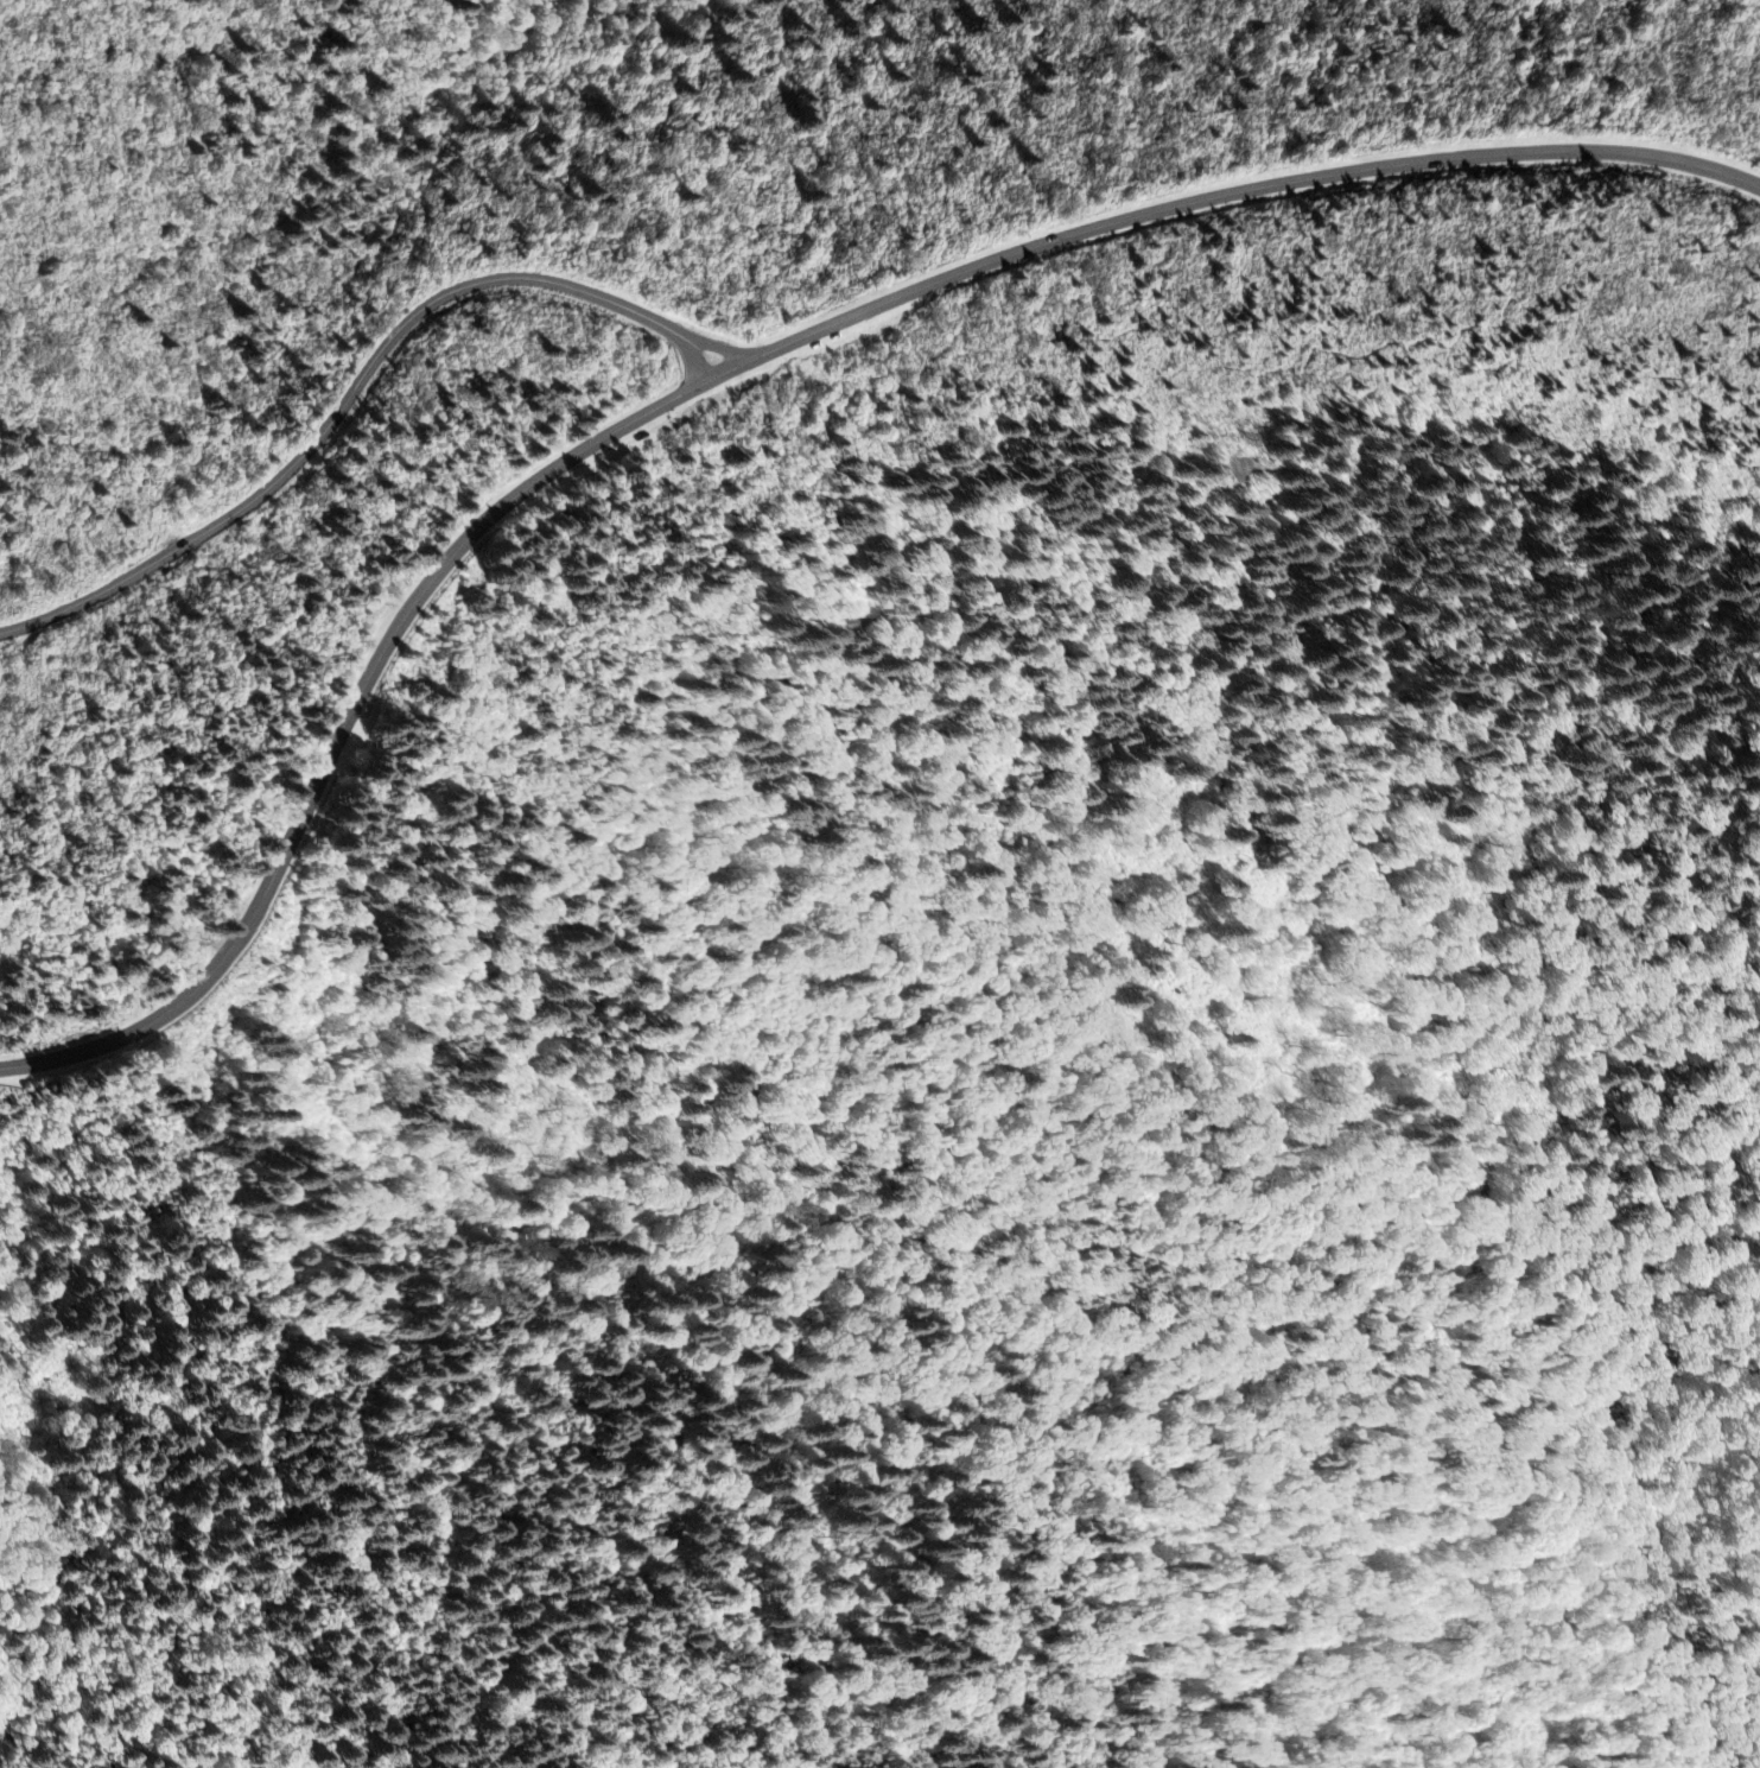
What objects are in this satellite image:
road: (720, 347)
road: (735, 366)
road: (354, 392)

